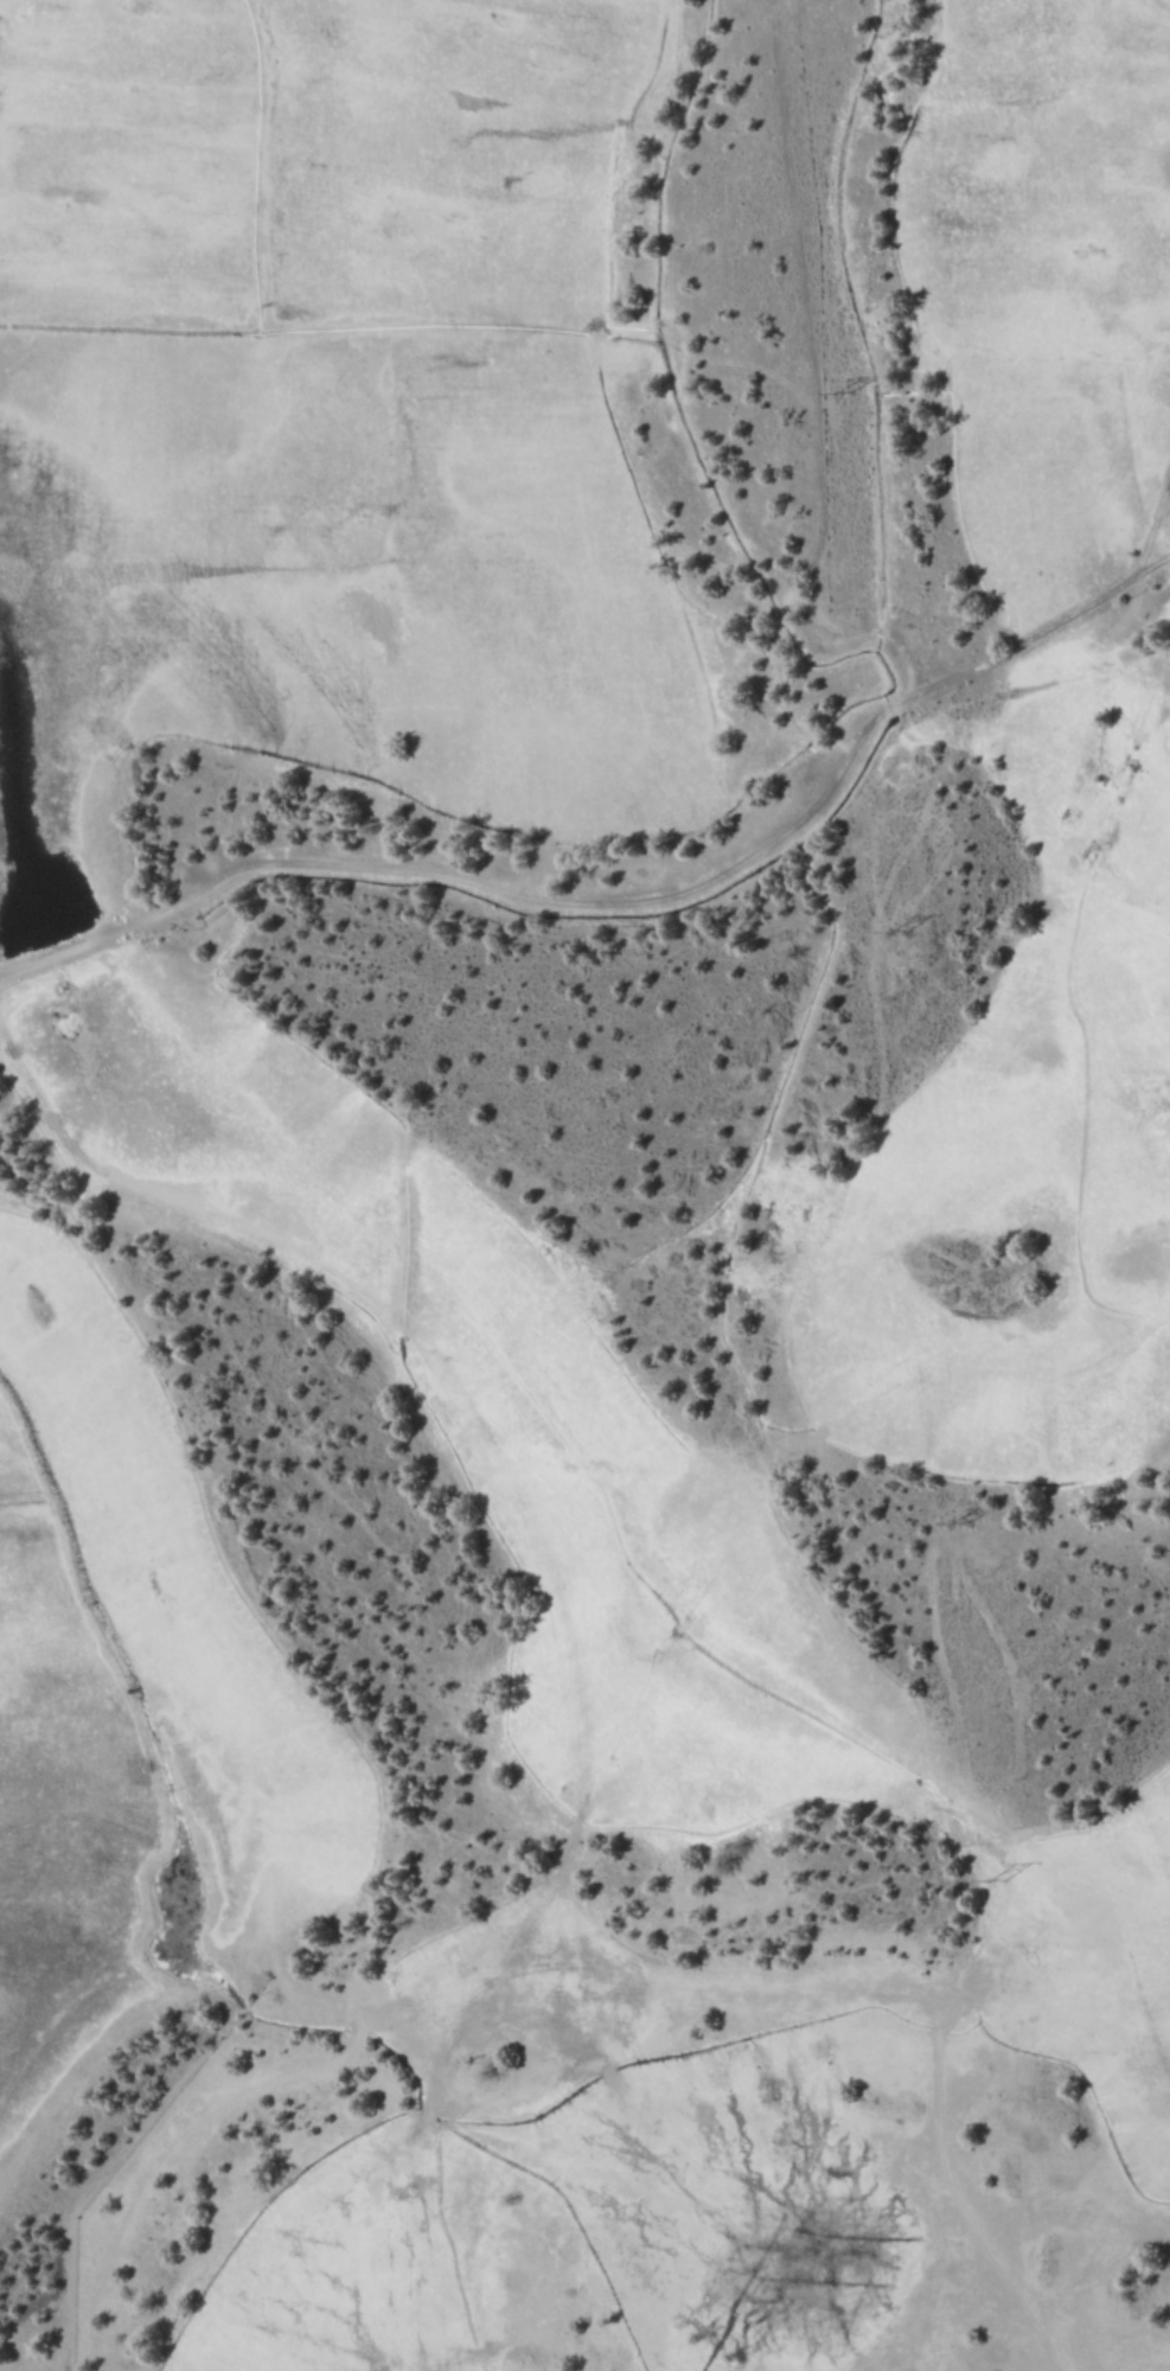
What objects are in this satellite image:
crop: (1043, 288)
power tower: (839, 394)
crop: (369, 768)
power tower: (887, 933)
power tower: (954, 1525)
crop: (123, 1708)
power tower: (986, 1879)
crop: (746, 2146)

